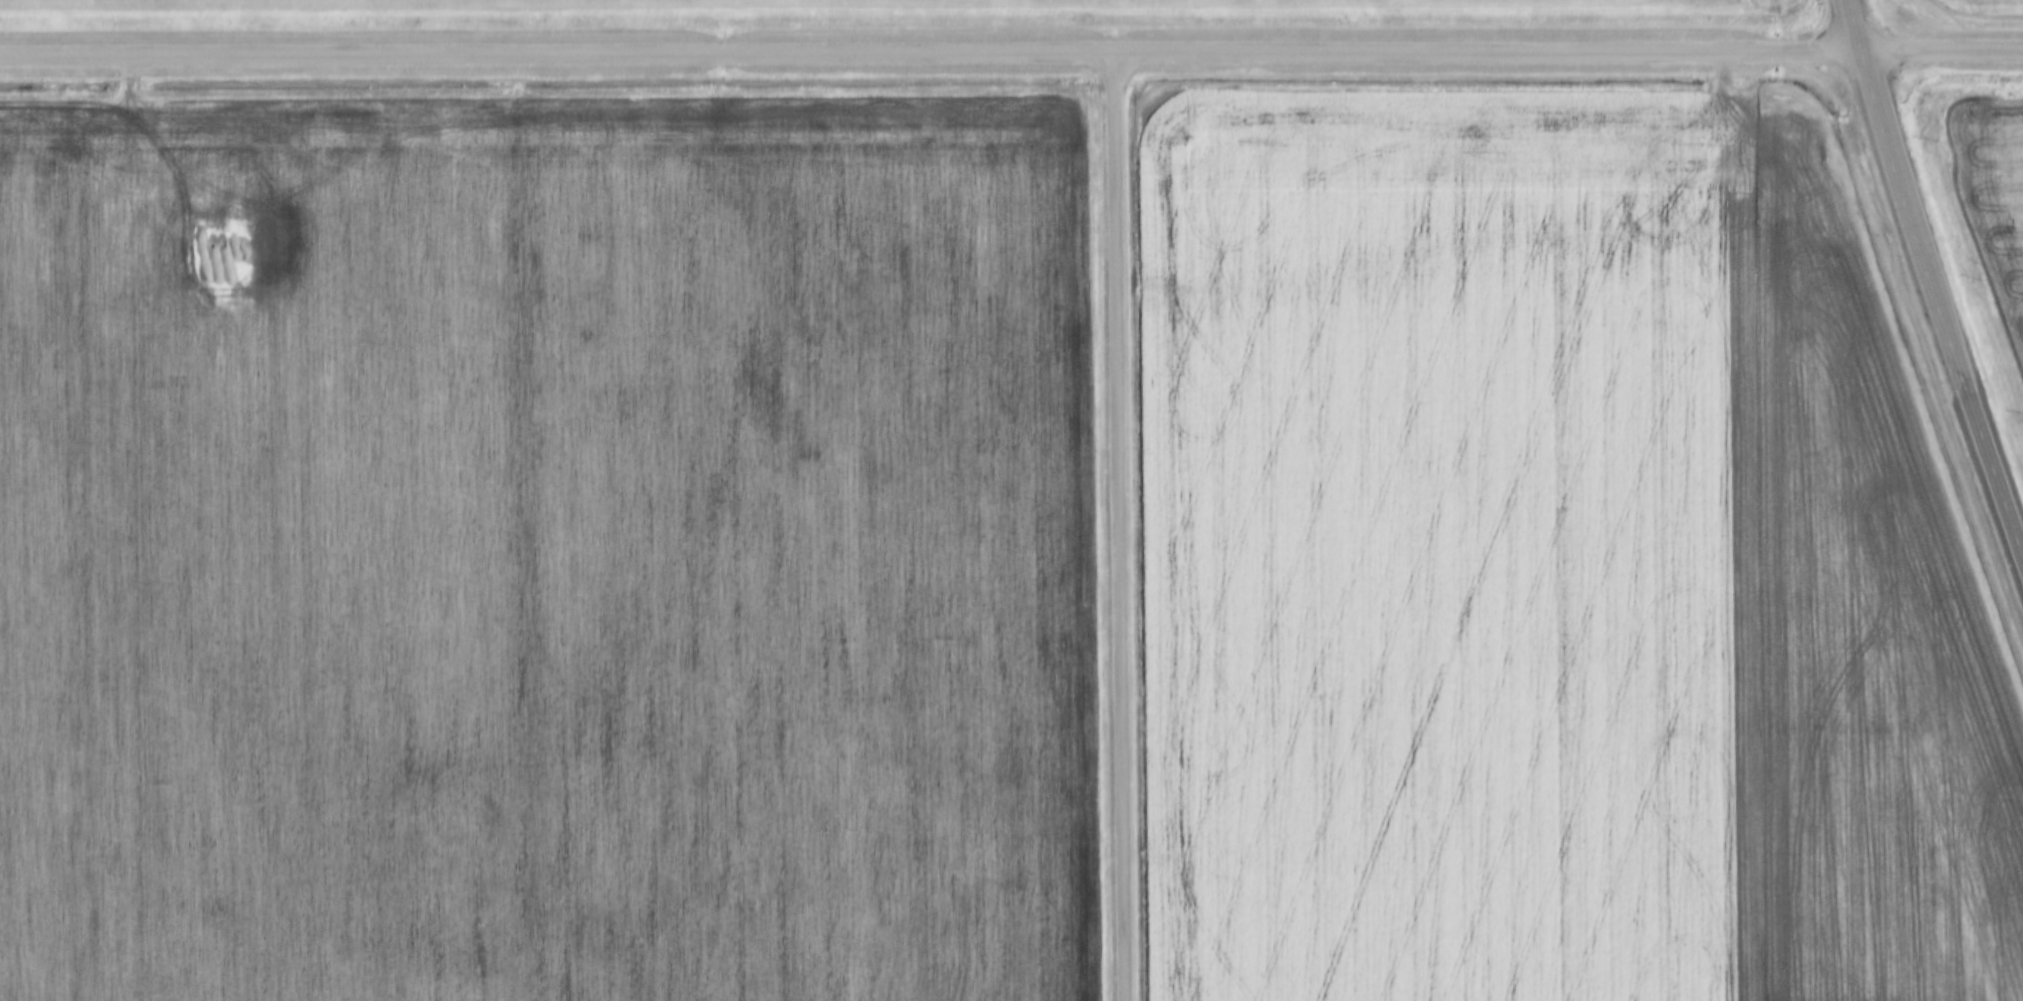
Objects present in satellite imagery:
road: (1849, 25)
road: (1011, 55)
road: (1936, 306)
road: (1116, 528)

